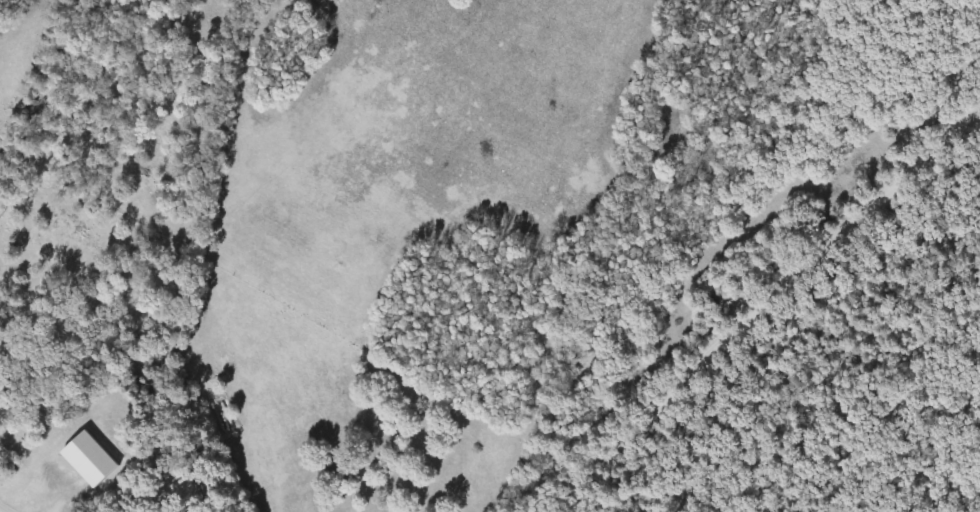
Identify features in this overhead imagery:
road: (762, 310)
road: (8, 505)

